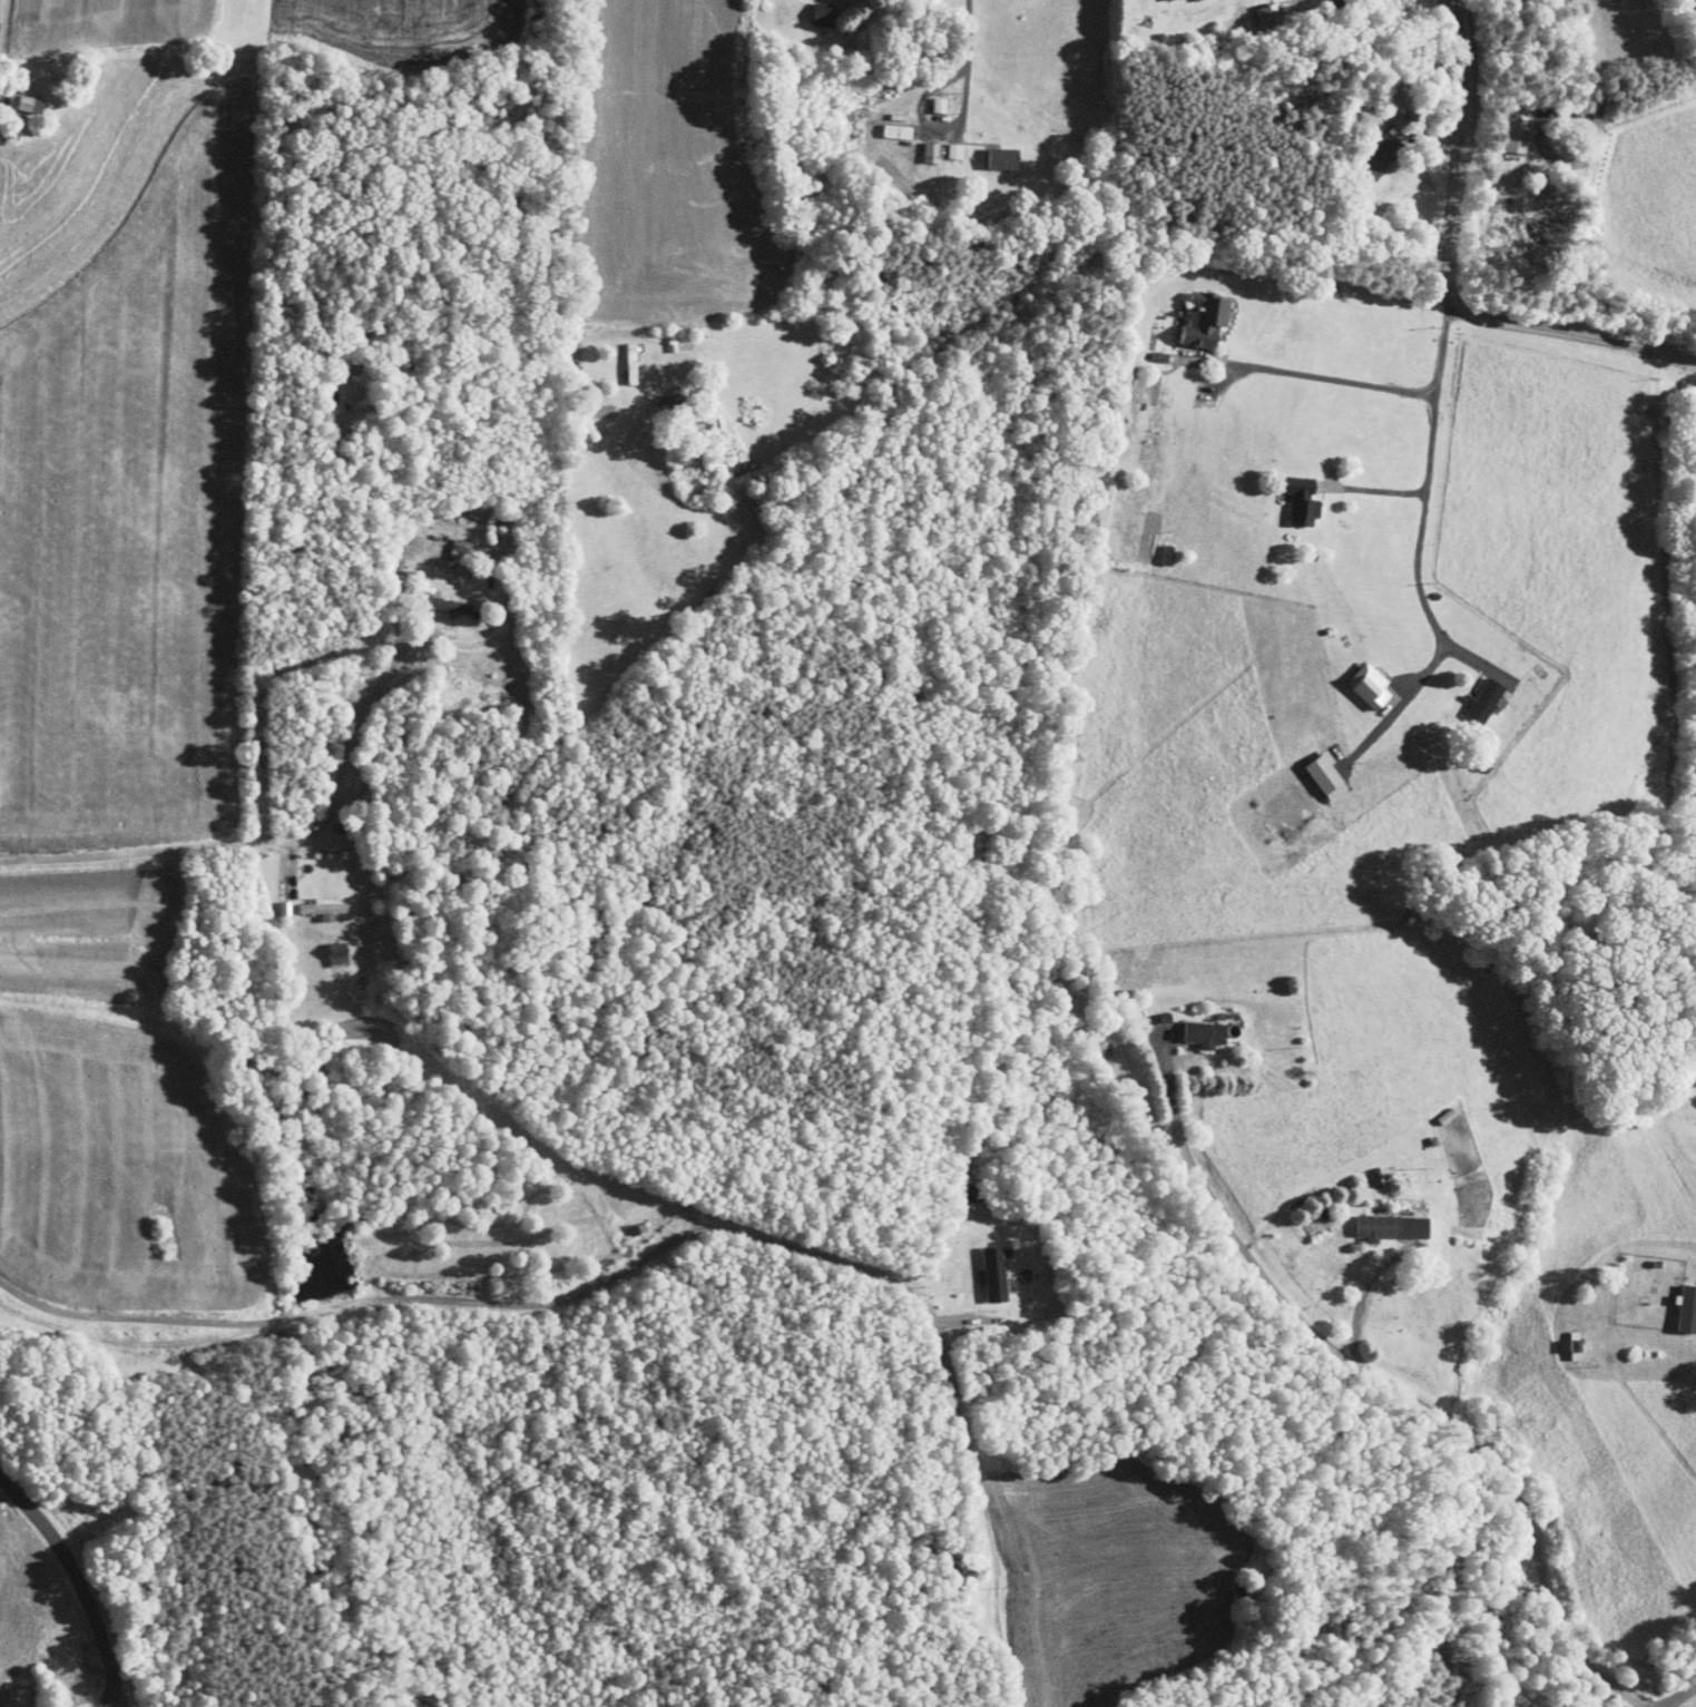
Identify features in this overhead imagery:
building: (1255, 8)
building: (810, 9)
road: (969, 30)
road: (1569, 43)
road: (1023, 71)
building: (13, 97)
building: (923, 98)
building: (881, 125)
road: (931, 127)
building: (1501, 128)
building: (939, 144)
building: (915, 146)
building: (986, 151)
building: (1363, 151)
road: (1460, 153)
road: (617, 213)
building: (1188, 312)
road: (1571, 334)
building: (616, 356)
road: (1332, 377)
road: (1425, 483)
road: (1373, 490)
building: (1286, 492)
building: (443, 542)
building: (431, 597)
building: (1353, 677)
building: (1469, 693)
building: (1310, 768)
building: (1274, 802)
road: (290, 844)
building: (306, 901)
building: (321, 945)
building: (1189, 1026)
building: (1375, 1219)
road: (656, 1250)
building: (978, 1266)
road: (1361, 1295)
building: (1674, 1301)
road: (329, 1309)
road: (144, 1318)
building: (1559, 1338)
road: (1379, 1373)
road: (81, 1581)
building: (4, 1693)
road: (1683, 1697)

